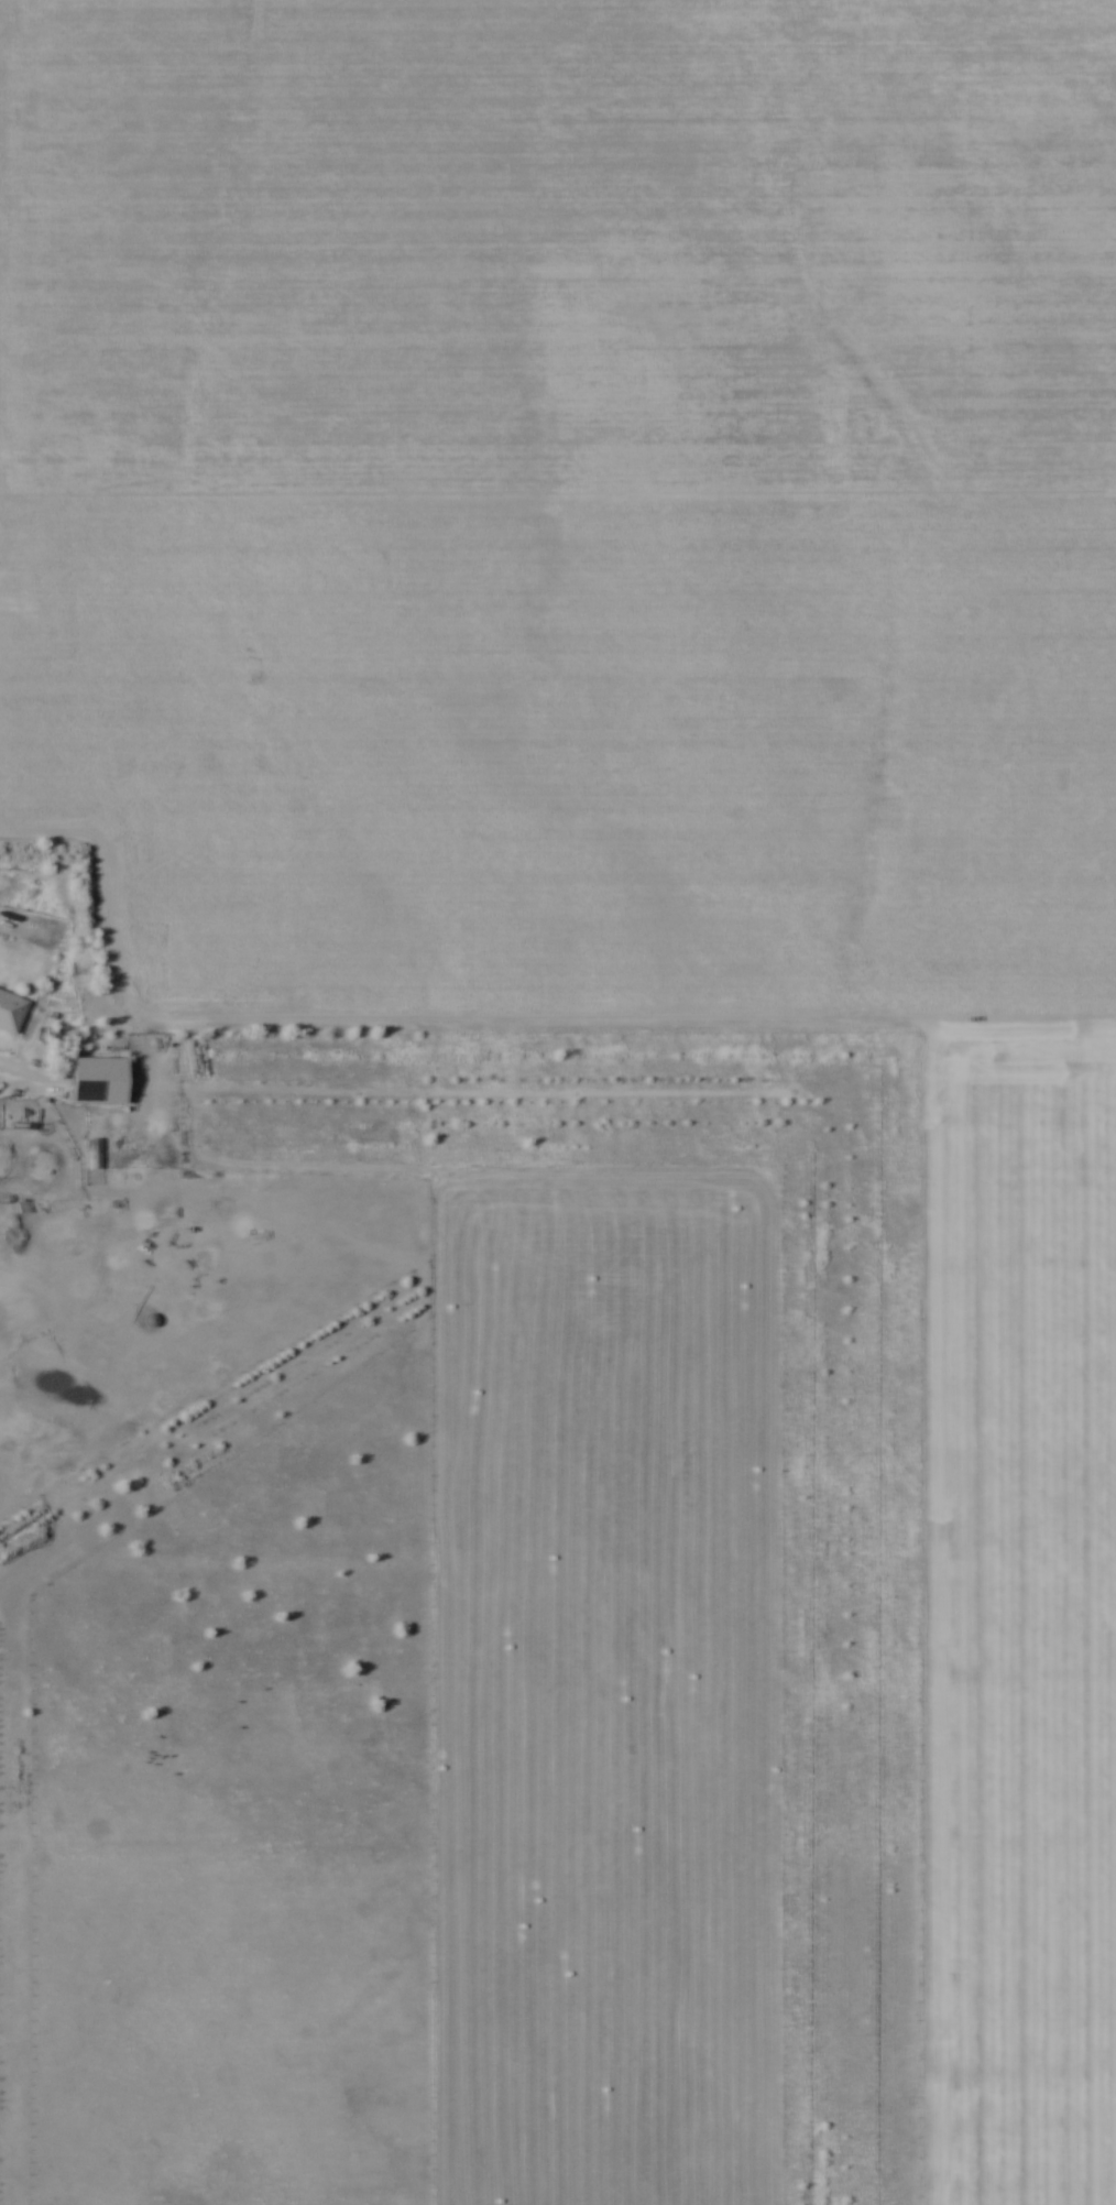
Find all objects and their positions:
building: (7, 1009)
building: (31, 1027)
building: (99, 1083)
building: (151, 1323)

